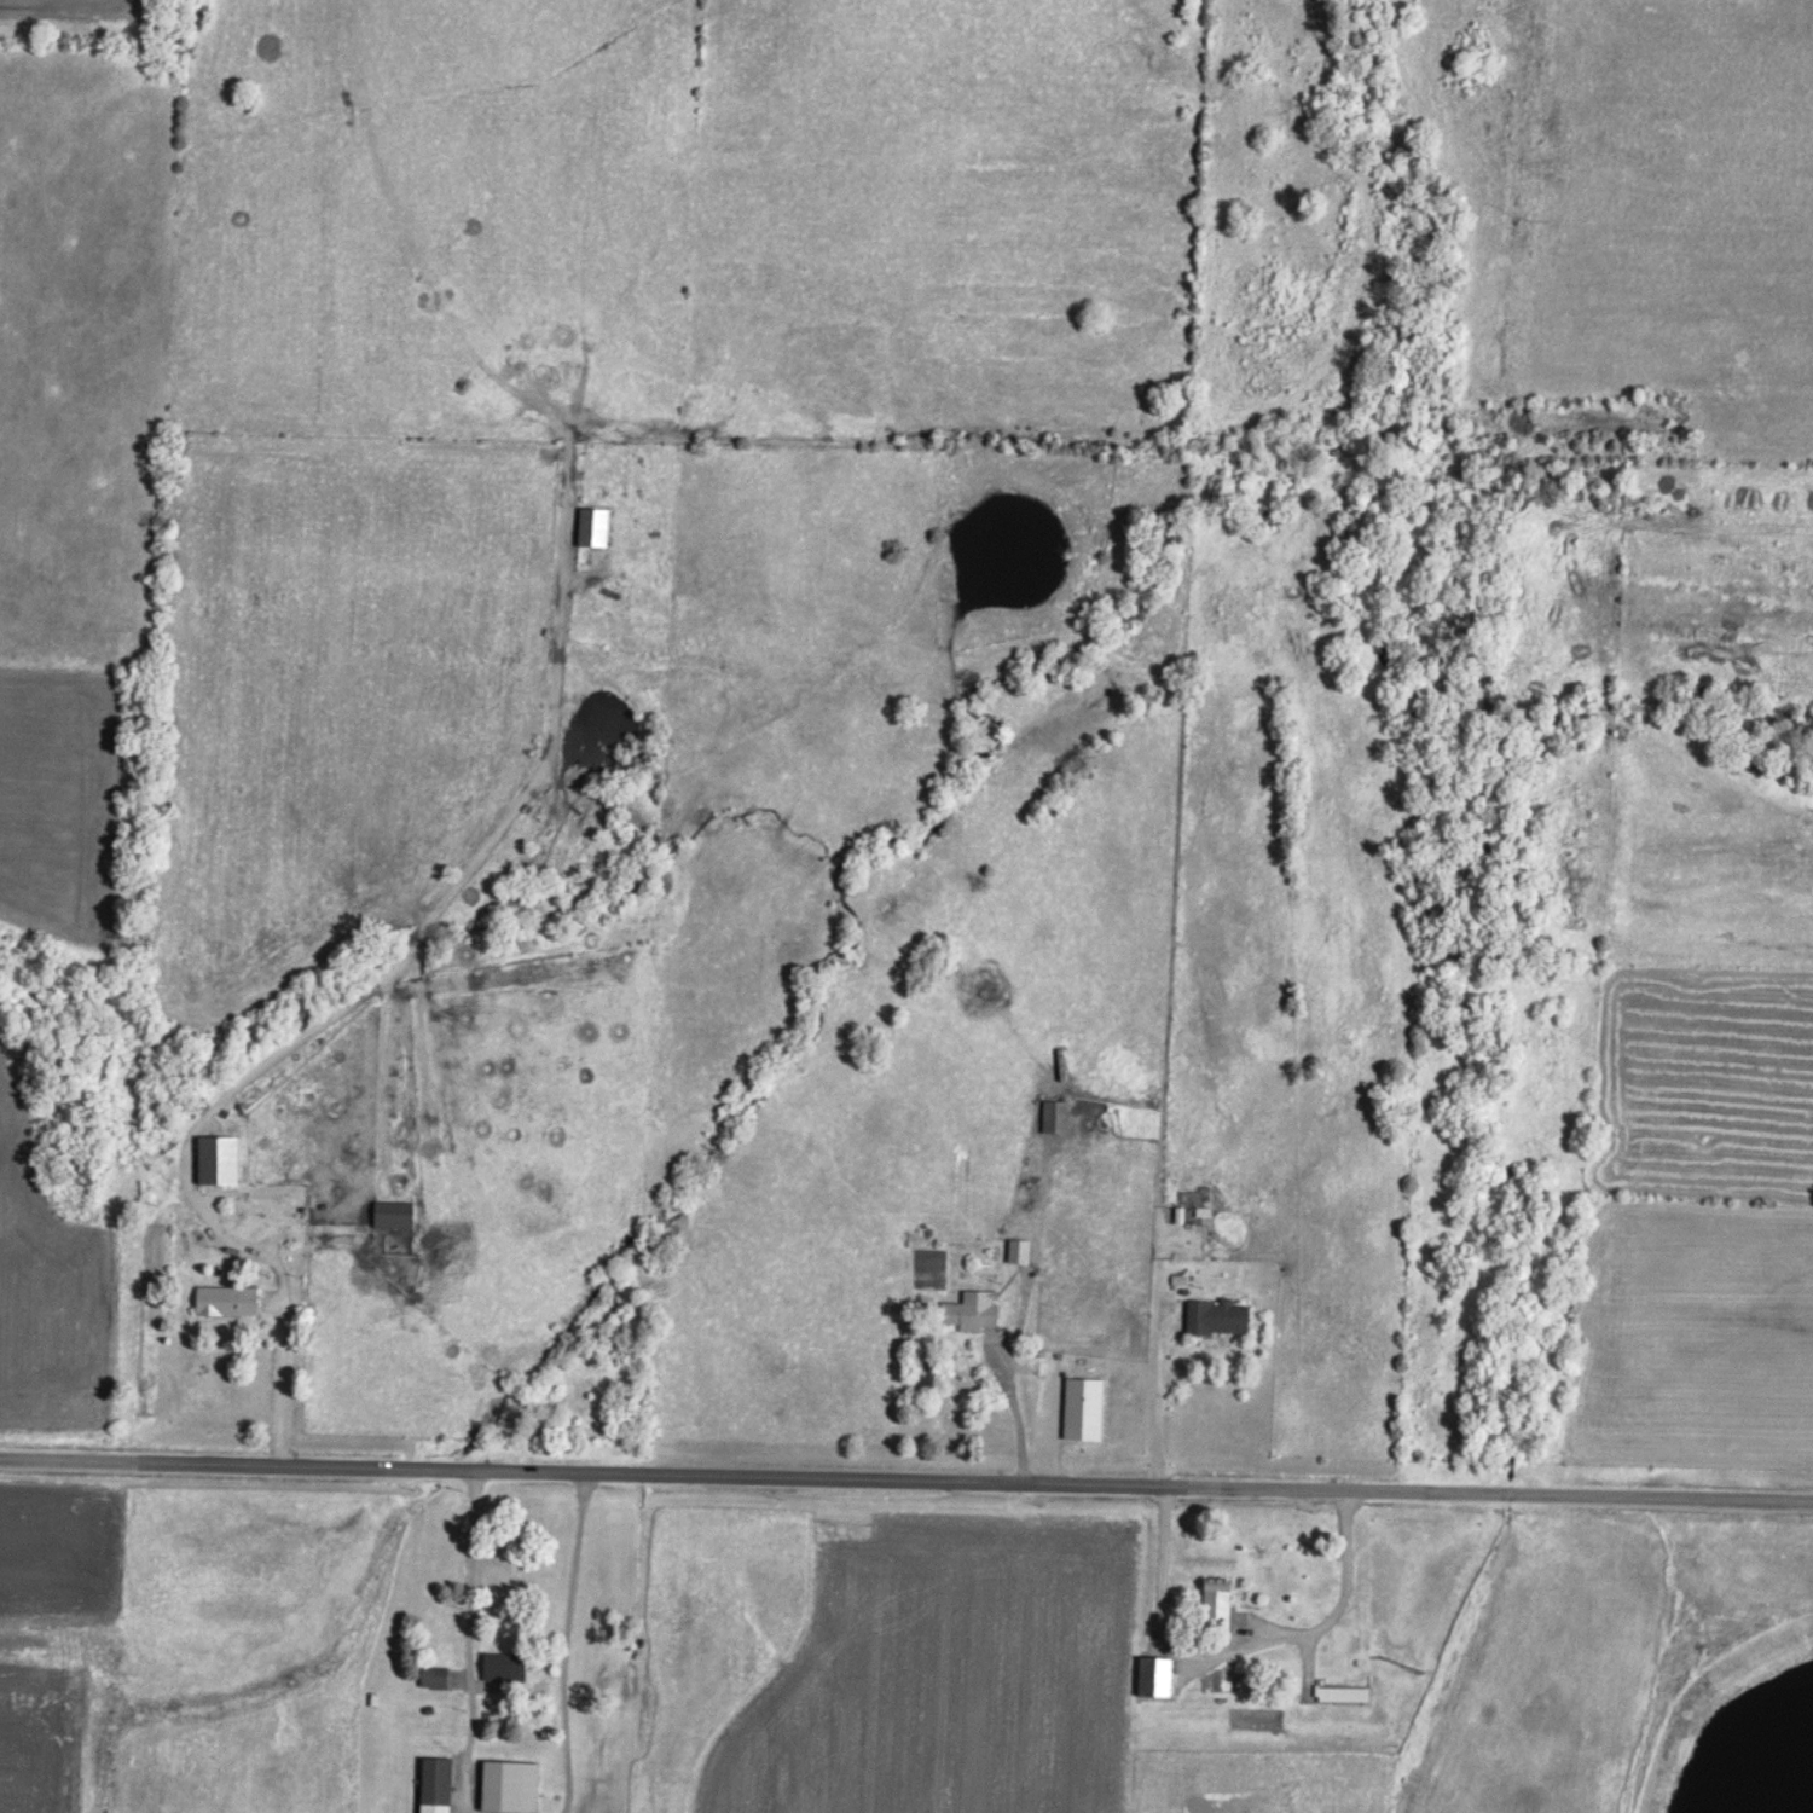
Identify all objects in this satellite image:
building: (596, 523)
building: (1058, 1113)
building: (221, 1157)
building: (395, 1211)
building: (1021, 1249)
road: (285, 1274)
building: (228, 1298)
building: (974, 1308)
building: (1220, 1314)
road: (1018, 1401)
building: (1085, 1406)
road: (906, 1476)
road: (1166, 1548)
building: (1217, 1600)
road: (471, 1639)
building: (503, 1664)
building: (436, 1674)
building: (1157, 1674)
building: (439, 1784)
building: (512, 1784)

